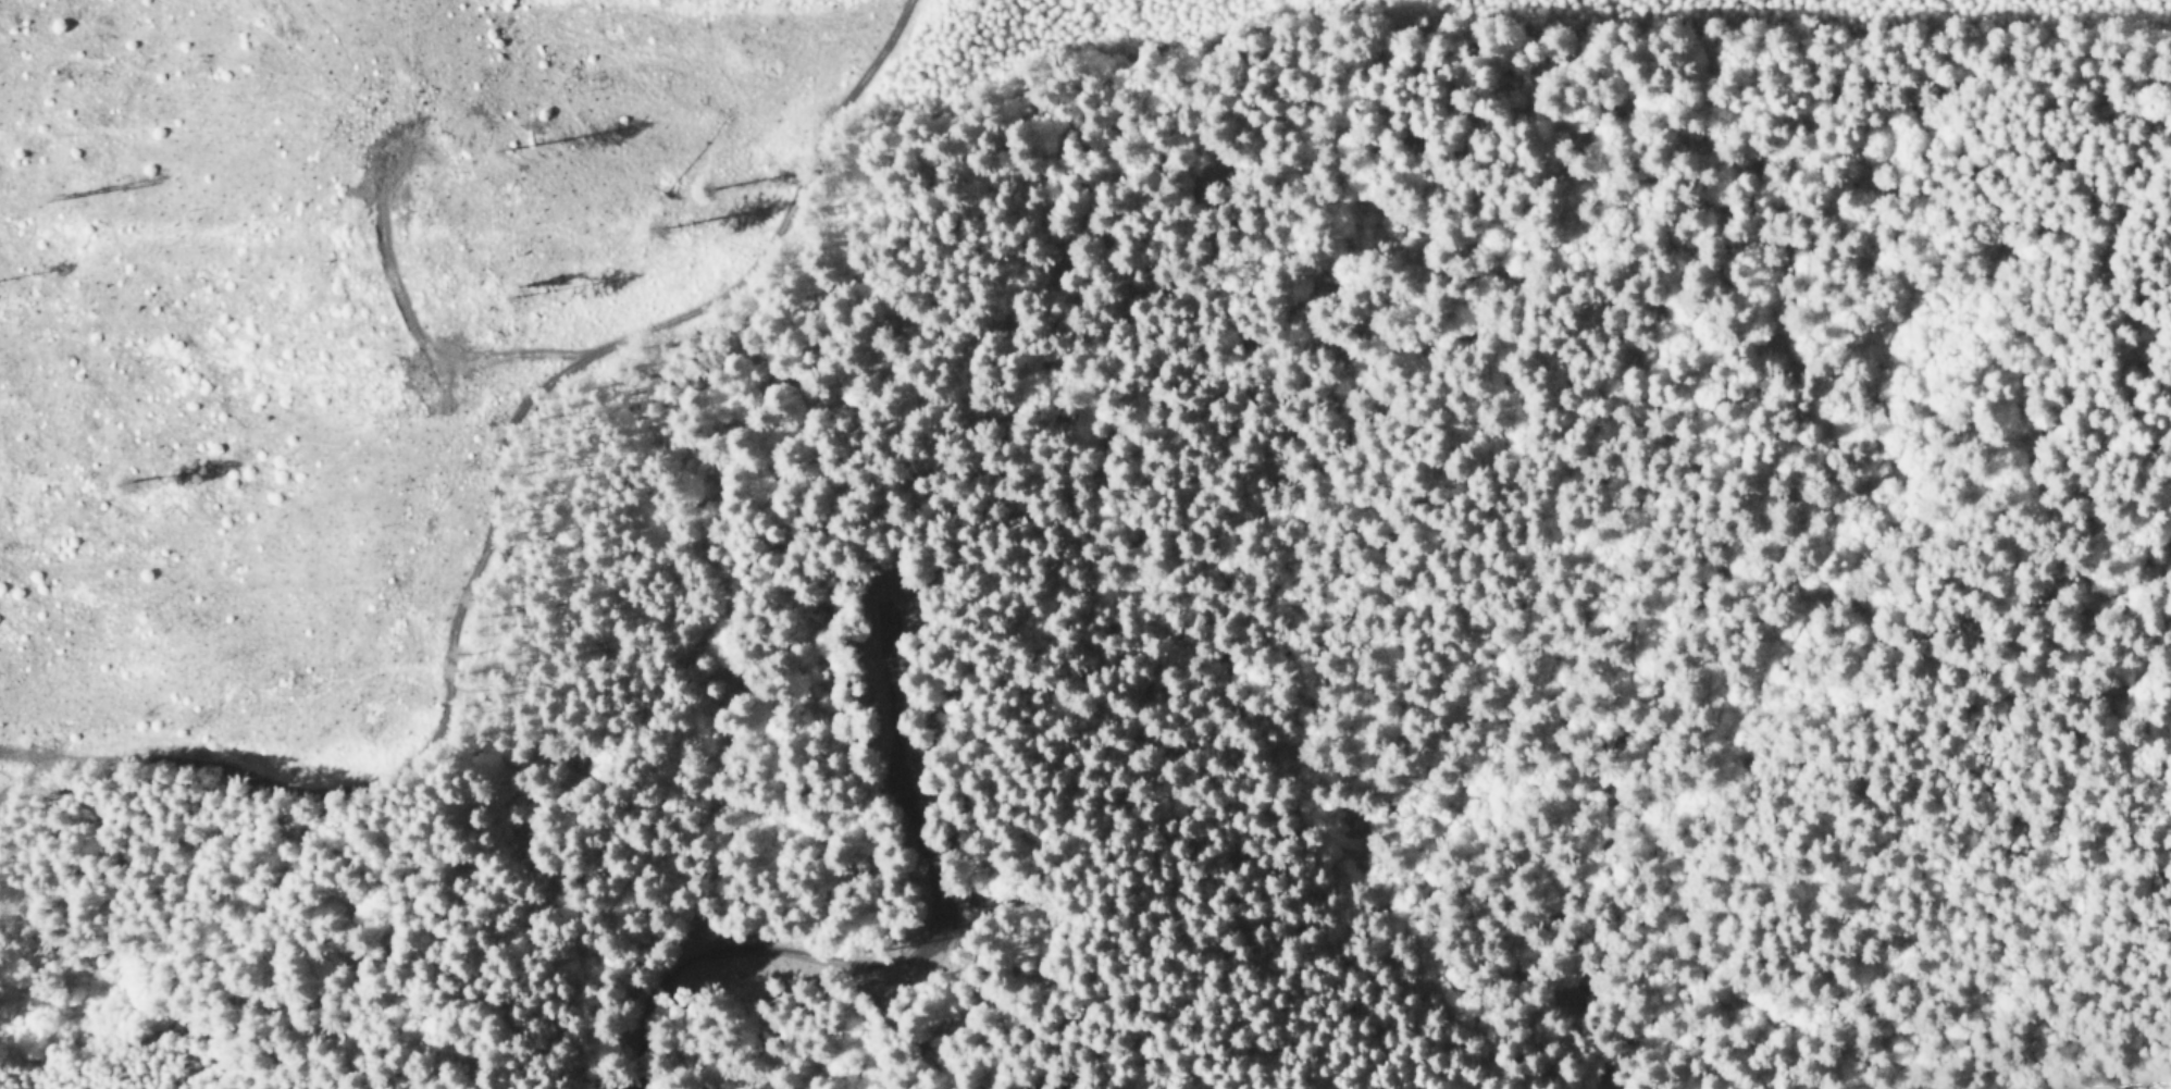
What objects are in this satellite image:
road: (470, 523)

